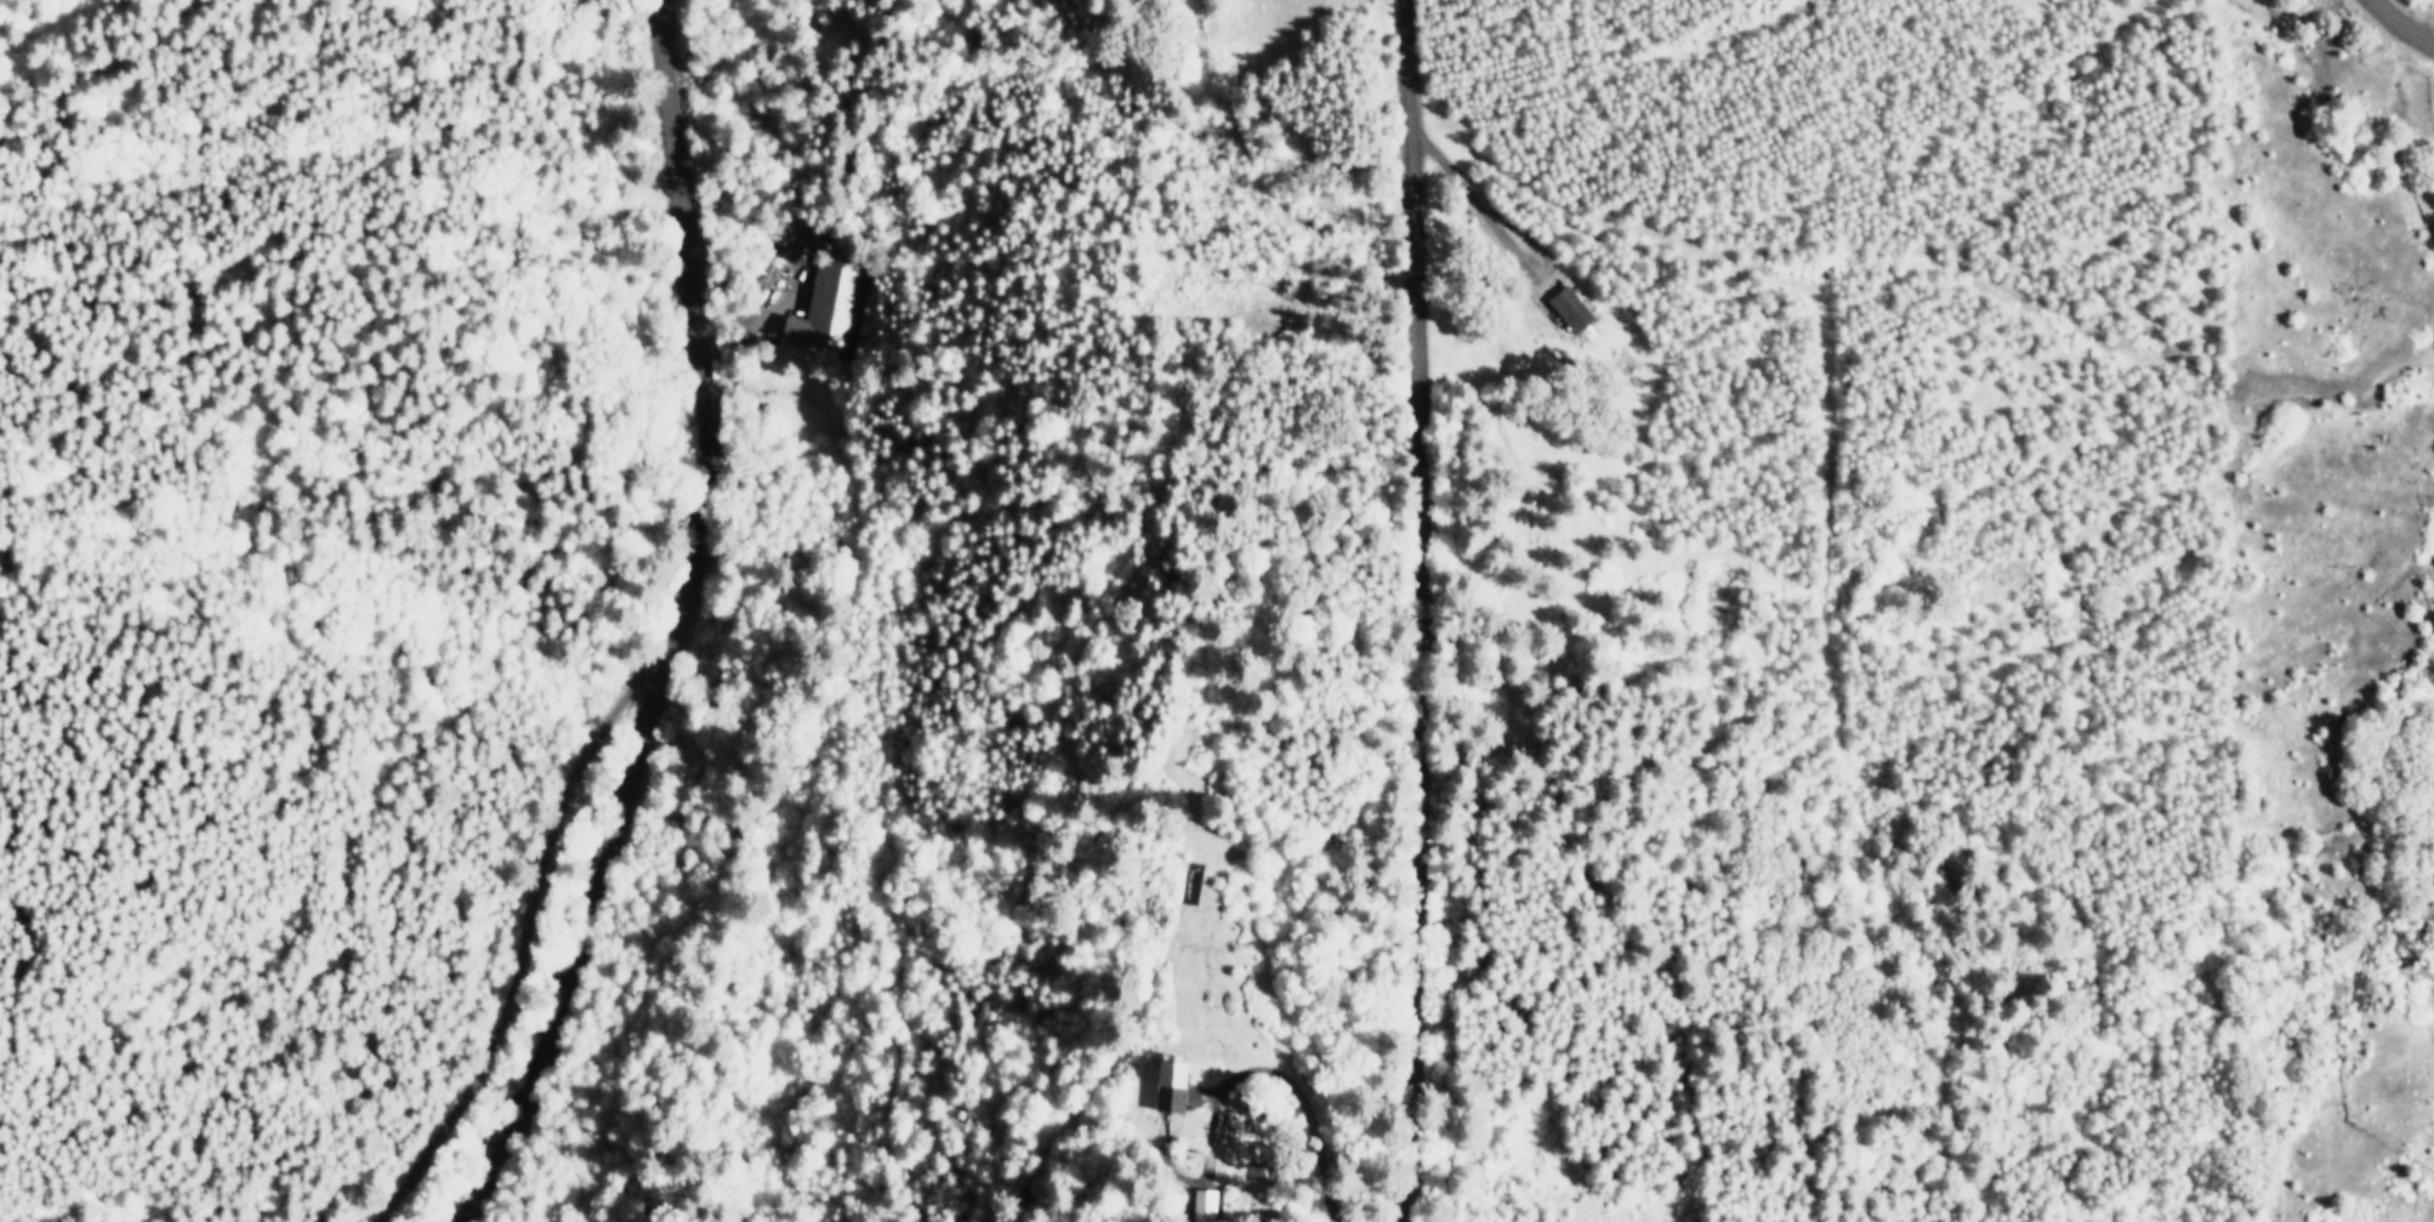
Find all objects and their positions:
road: (2400, 27)
crop: (2392, 38)
road: (1477, 203)
building: (825, 308)
building: (1573, 311)
road: (1432, 610)
road: (666, 632)
building: (1167, 1093)

